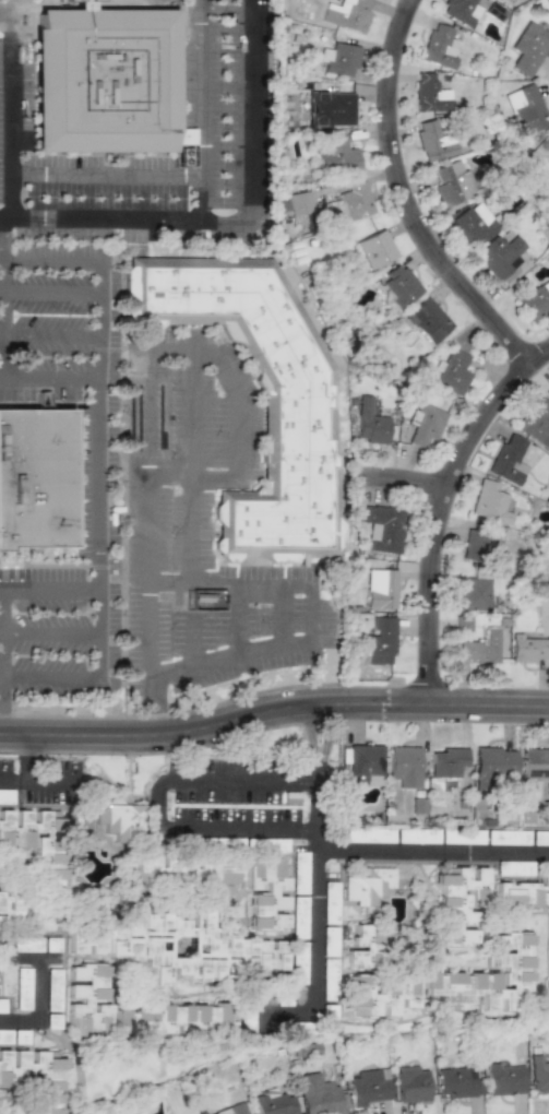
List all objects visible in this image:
building: (461, 11)
building: (346, 13)
building: (439, 46)
building: (528, 47)
building: (339, 59)
building: (104, 80)
building: (429, 94)
building: (330, 108)
building: (526, 109)
building: (434, 141)
building: (183, 155)
building: (337, 156)
road: (193, 169)
building: (452, 182)
road: (203, 194)
road: (402, 199)
building: (355, 201)
building: (294, 203)
road: (135, 221)
road: (8, 223)
building: (472, 223)
building: (374, 249)
building: (502, 259)
building: (398, 285)
road: (49, 294)
road: (1, 299)
building: (534, 303)
building: (428, 320)
road: (48, 333)
building: (135, 365)
building: (451, 371)
road: (48, 376)
road: (97, 378)
building: (548, 391)
building: (298, 407)
road: (191, 415)
building: (536, 420)
building: (369, 422)
building: (425, 425)
road: (241, 430)
building: (508, 459)
road: (394, 473)
road: (171, 477)
building: (36, 478)
building: (489, 502)
road: (431, 503)
building: (382, 526)
building: (478, 544)
road: (172, 578)
building: (380, 589)
road: (48, 593)
building: (474, 593)
road: (282, 613)
road: (237, 618)
road: (48, 632)
building: (380, 640)
building: (480, 648)
building: (528, 648)
road: (91, 678)
road: (273, 709)
road: (307, 732)
road: (332, 732)
building: (446, 761)
building: (365, 763)
building: (535, 763)
building: (405, 766)
building: (491, 767)
road: (317, 770)
road: (34, 775)
road: (17, 780)
road: (156, 806)
road: (314, 808)
building: (545, 811)
building: (120, 820)
building: (369, 835)
building: (418, 835)
building: (462, 837)
building: (506, 838)
building: (539, 838)
building: (37, 844)
building: (278, 844)
road: (434, 850)
building: (513, 868)
building: (184, 869)
building: (300, 873)
building: (368, 886)
building: (524, 892)
building: (266, 893)
building: (331, 903)
building: (457, 903)
building: (15, 911)
building: (299, 917)
building: (330, 941)
building: (26, 945)
building: (51, 945)
building: (167, 946)
building: (367, 947)
road: (319, 949)
building: (268, 956)
building: (299, 967)
building: (490, 977)
building: (329, 980)
building: (548, 984)
building: (23, 988)
building: (53, 989)
building: (379, 995)
building: (87, 998)
building: (2, 1006)
road: (38, 1009)
building: (177, 1020)
building: (53, 1021)
building: (5, 1035)
road: (76, 1057)
building: (538, 1074)
building: (34, 1076)
building: (503, 1078)
building: (457, 1082)
building: (410, 1083)
building: (368, 1086)
building: (315, 1093)
building: (273, 1103)
building: (231, 1110)

